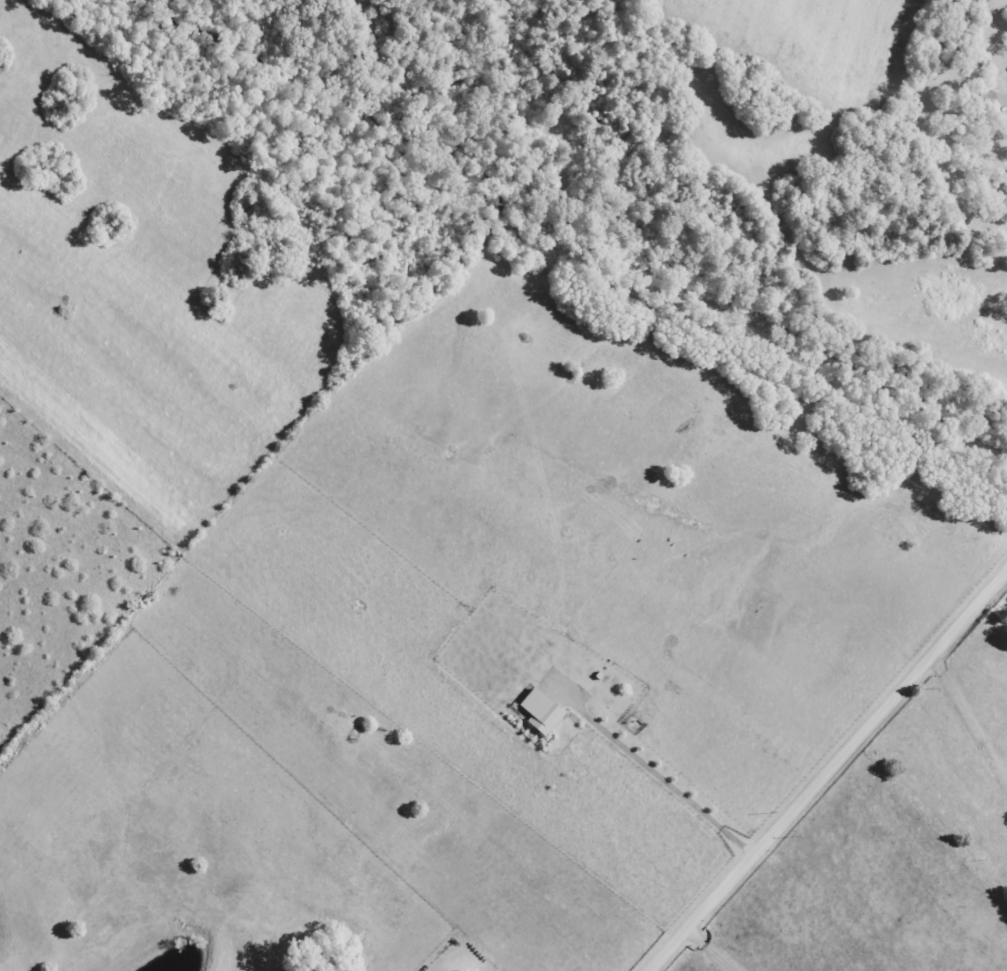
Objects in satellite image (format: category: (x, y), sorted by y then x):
building: (1006, 69)
road: (960, 754)
road: (831, 773)

